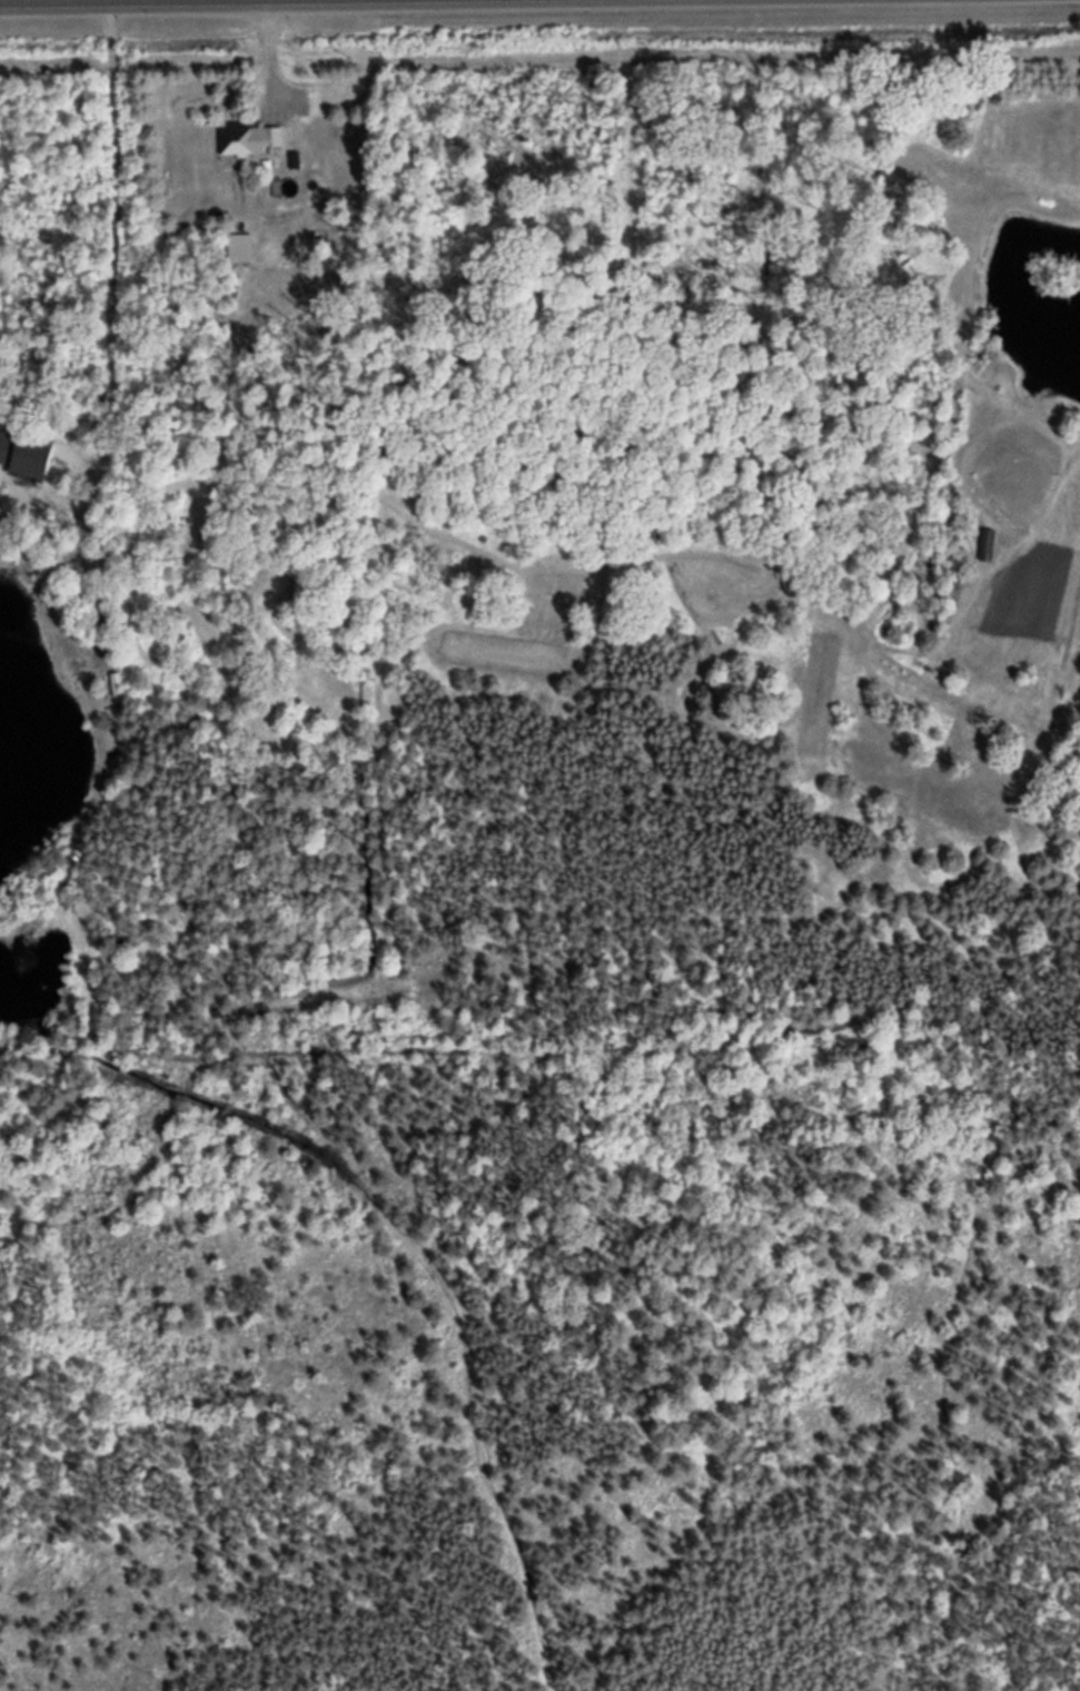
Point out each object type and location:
building: (248, 136)

